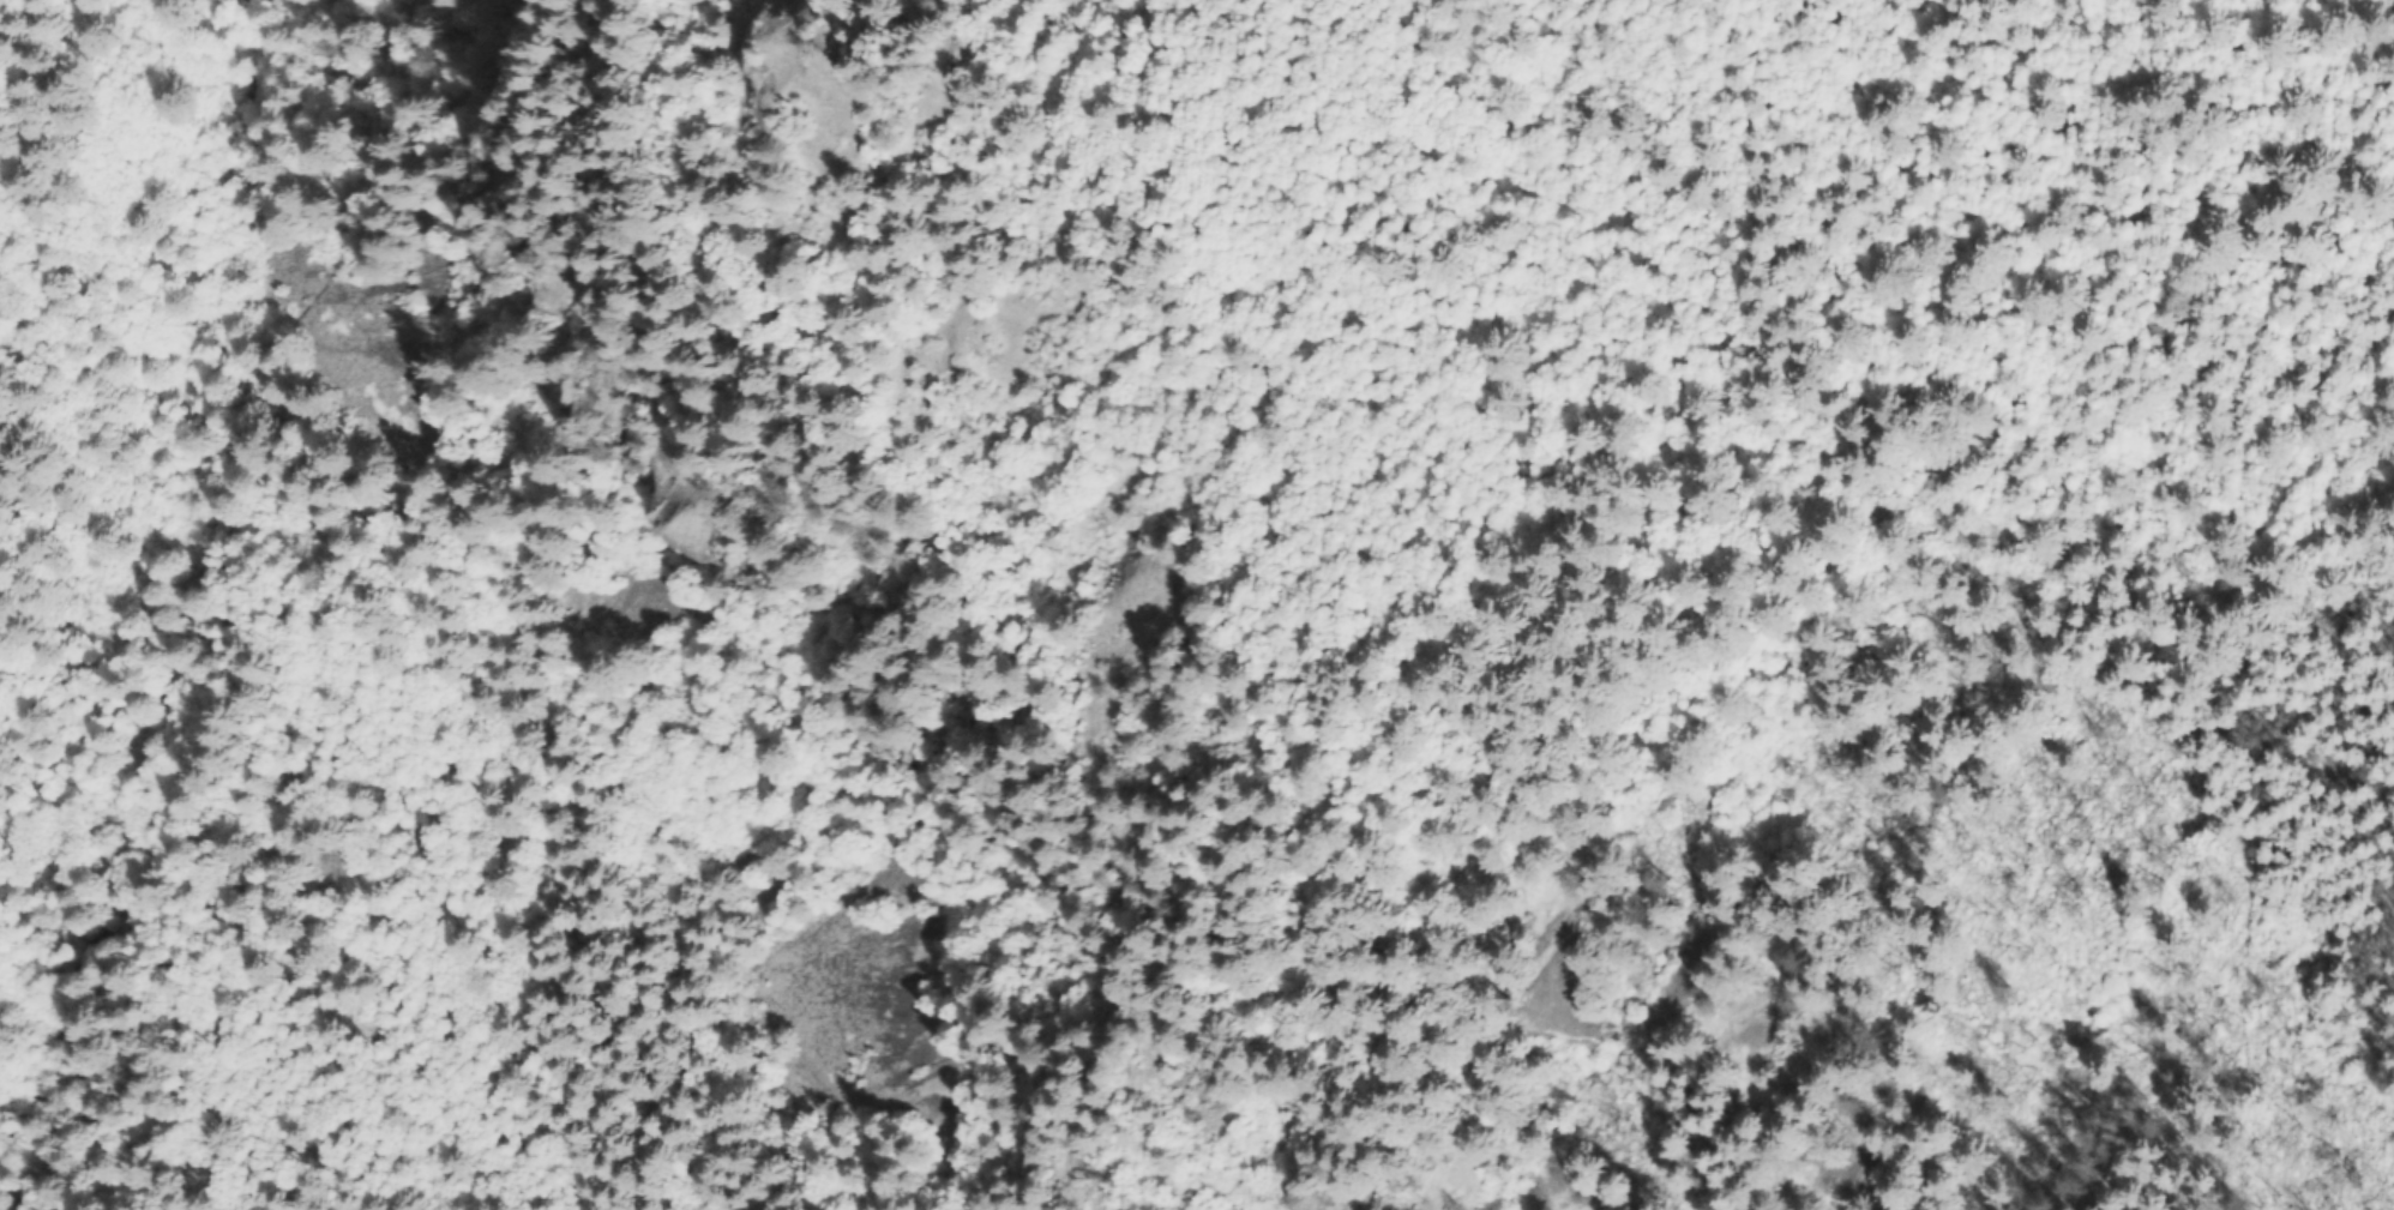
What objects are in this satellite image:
road: (916, 73)
road: (1185, 125)
road: (1583, 174)
road: (20, 318)
road: (1768, 598)
road: (1377, 1187)

